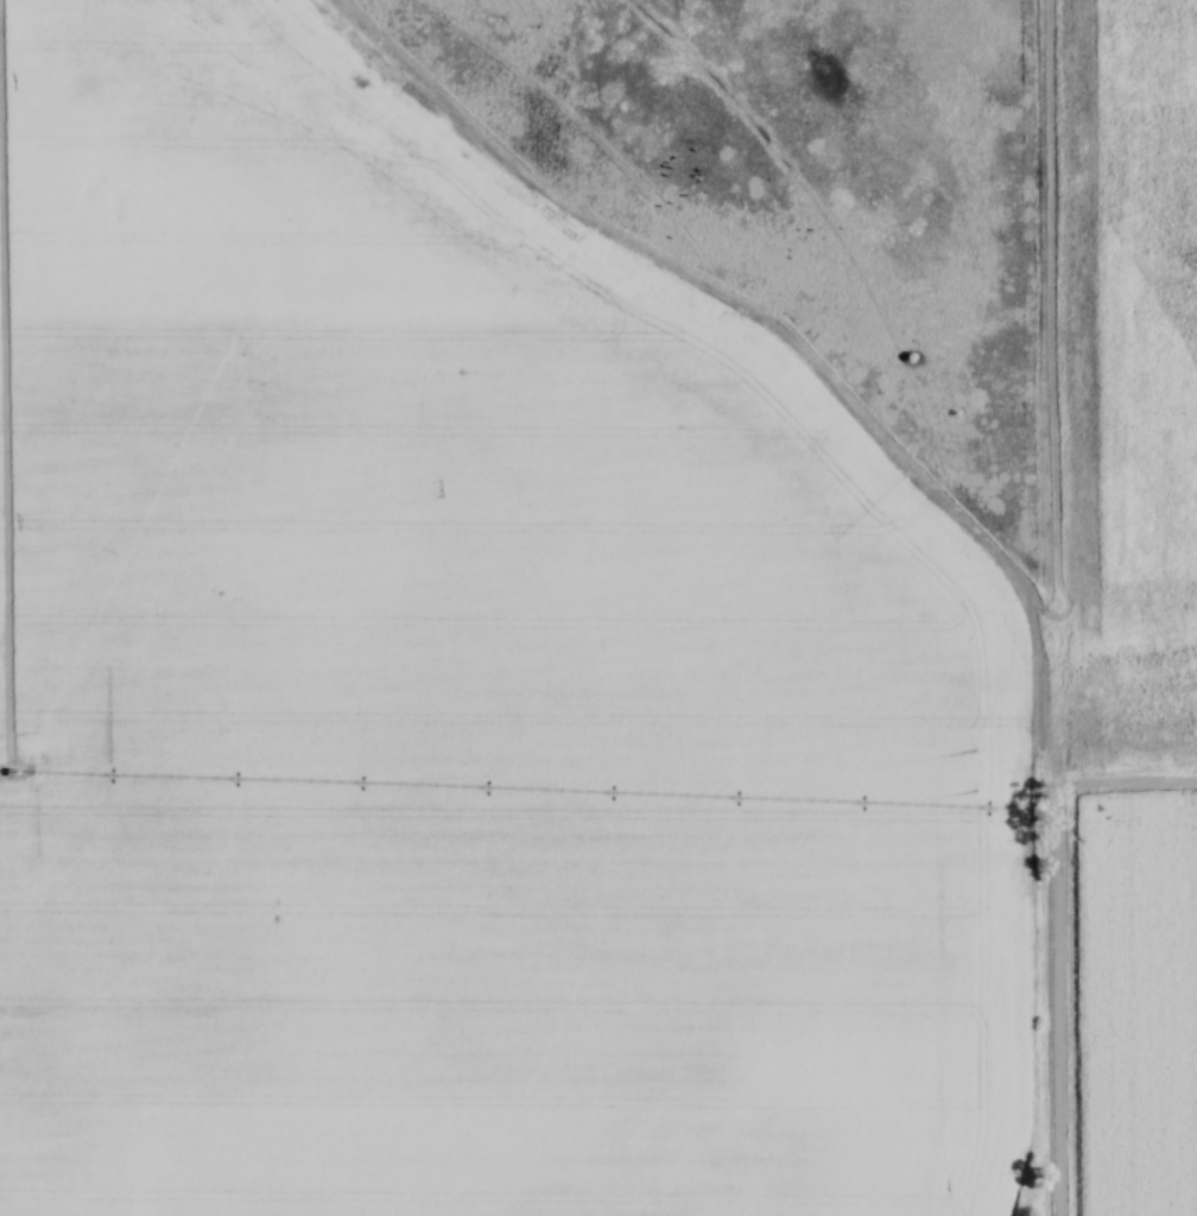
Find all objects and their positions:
road: (1051, 935)

